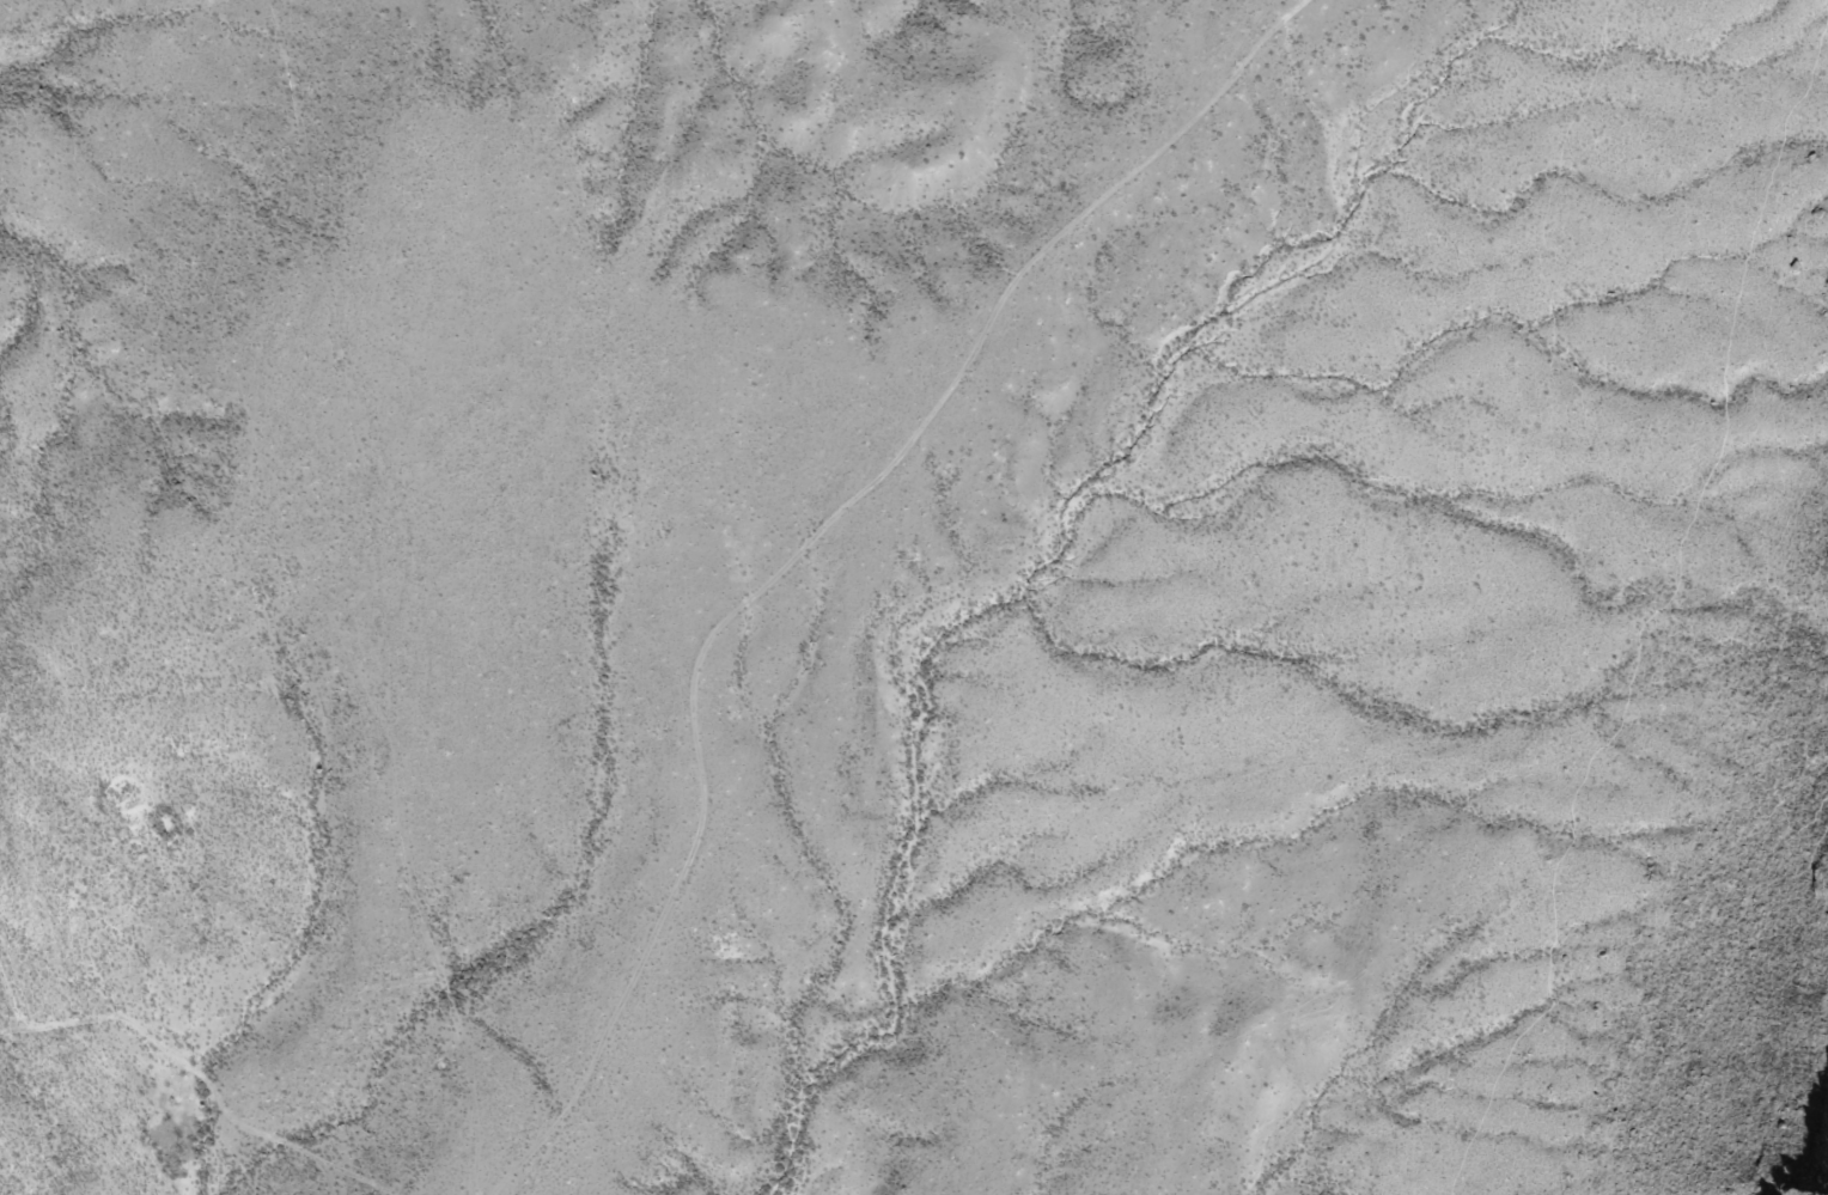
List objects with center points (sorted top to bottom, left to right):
road: (798, 543)

